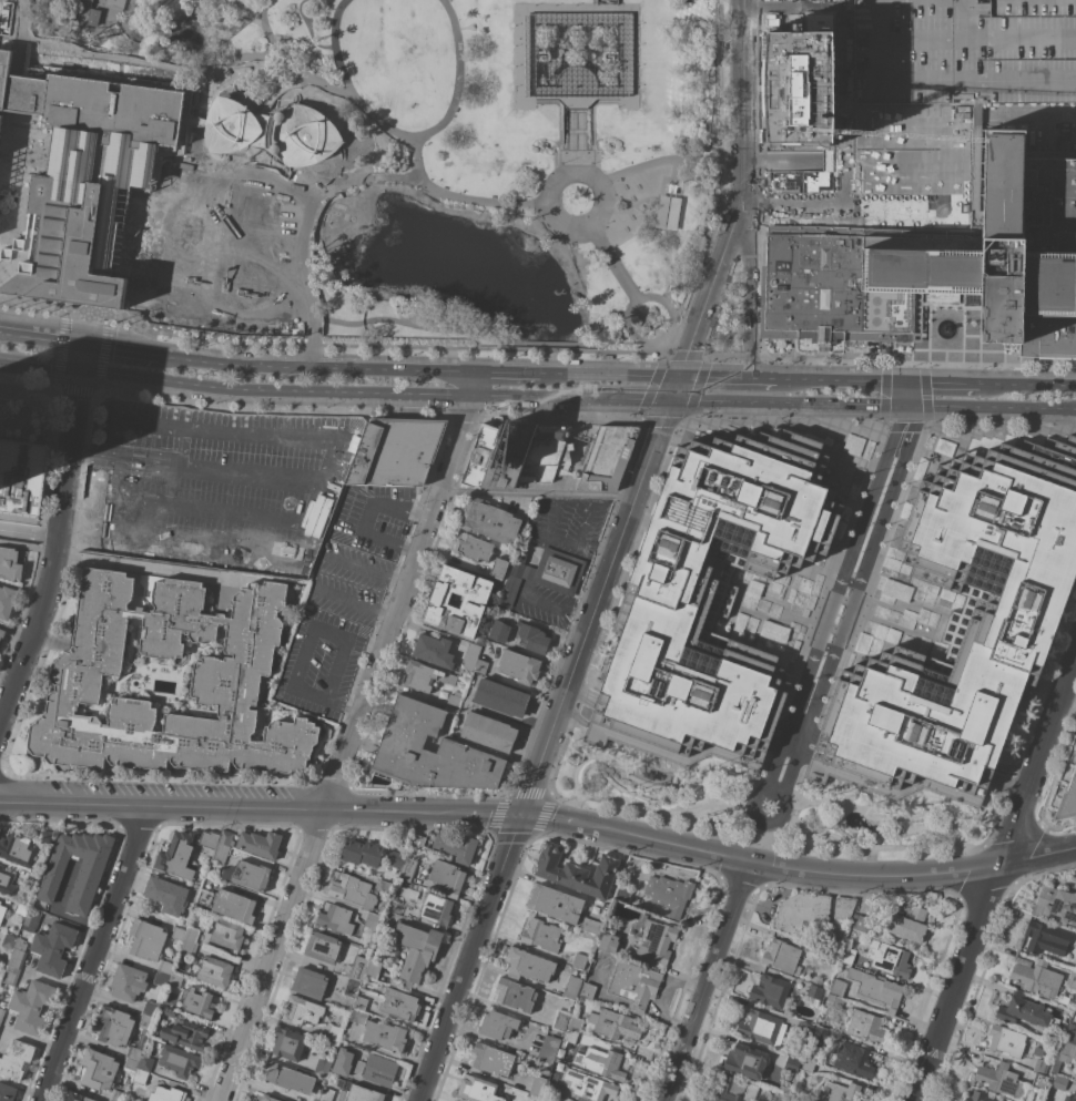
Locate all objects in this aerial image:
building: (605, 1)
building: (115, 4)
building: (85, 7)
road: (621, 8)
road: (104, 10)
road: (161, 20)
road: (122, 28)
road: (131, 38)
building: (964, 51)
parking garage: (964, 51)
road: (519, 52)
road: (237, 57)
road: (288, 61)
building: (534, 62)
building: (530, 63)
road: (302, 80)
building: (798, 86)
road: (273, 93)
road: (576, 93)
road: (521, 102)
road: (629, 102)
road: (742, 105)
building: (976, 112)
road: (1042, 115)
road: (559, 119)
road: (591, 119)
road: (200, 122)
road: (258, 130)
building: (272, 131)
road: (406, 133)
road: (575, 139)
road: (953, 147)
road: (251, 149)
park: (466, 153)
road: (417, 156)
road: (559, 159)
road: (591, 159)
road: (657, 160)
road: (779, 161)
road: (569, 171)
road: (843, 182)
building: (109, 187)
building: (670, 188)
road: (438, 191)
building: (666, 213)
building: (940, 263)
road: (612, 264)
road: (301, 266)
road: (286, 272)
road: (749, 294)
road: (103, 319)
road: (423, 327)
fountain: (944, 328)
road: (598, 329)
road: (153, 332)
road: (628, 332)
road: (312, 339)
road: (40, 340)
road: (549, 343)
traffic signals: (82, 346)
road: (664, 347)
road: (119, 350)
road: (669, 353)
road: (312, 355)
road: (80, 357)
road: (722, 359)
road: (750, 360)
road: (666, 361)
road: (916, 363)
road: (39, 364)
road: (311, 366)
traffic signals: (79, 369)
road: (509, 373)
road: (613, 375)
traffic signals: (679, 376)
road: (728, 378)
road: (13, 379)
road: (841, 380)
traffic signals: (905, 381)
road: (468, 383)
road: (943, 383)
road: (1029, 385)
road: (72, 388)
road: (272, 389)
road: (905, 394)
road: (529, 395)
road: (631, 397)
traffic signals: (671, 399)
road: (789, 401)
traffic signals: (906, 406)
road: (991, 408)
road: (335, 416)
road: (784, 421)
road: (904, 424)
building: (396, 451)
building: (483, 452)
building: (545, 452)
building: (566, 453)
building: (510, 455)
building: (608, 457)
building: (22, 477)
road: (77, 516)
road: (368, 517)
road: (16, 518)
parking lot: (373, 521)
building: (489, 521)
road: (49, 522)
road: (29, 534)
road: (581, 540)
building: (473, 548)
road: (539, 549)
road: (55, 550)
building: (10, 563)
road: (355, 565)
road: (150, 568)
building: (499, 568)
building: (551, 572)
road: (530, 573)
road: (395, 580)
parking lot: (349, 582)
building: (509, 591)
building: (712, 599)
road: (342, 600)
building: (474, 600)
building: (7, 601)
road: (842, 606)
road: (554, 608)
road: (382, 614)
building: (963, 628)
building: (499, 631)
road: (331, 632)
building: (1, 633)
building: (532, 638)
building: (433, 650)
building: (470, 656)
road: (580, 656)
parking lot: (321, 663)
building: (232, 666)
building: (519, 666)
road: (297, 667)
building: (480, 667)
road: (335, 672)
building: (425, 676)
building: (500, 697)
building: (454, 700)
road: (337, 707)
building: (488, 732)
road: (347, 747)
building: (429, 752)
building: (1075, 763)
building: (1067, 799)
park: (763, 807)
road: (541, 820)
building: (1, 830)
road: (760, 836)
building: (48, 837)
building: (226, 838)
building: (418, 842)
building: (210, 843)
building: (260, 844)
building: (18, 847)
building: (457, 847)
building: (362, 852)
building: (221, 853)
building: (176, 855)
building: (395, 858)
building: (406, 869)
building: (576, 870)
road: (991, 873)
building: (247, 875)
building: (33, 877)
building: (448, 877)
building: (207, 878)
building: (88, 879)
building: (7, 883)
building: (382, 886)
building: (351, 889)
building: (408, 890)
building: (669, 894)
building: (165, 895)
building: (622, 895)
building: (205, 897)
building: (0, 901)
building: (555, 904)
building: (1056, 904)
building: (234, 906)
building: (395, 906)
building: (843, 907)
building: (436, 908)
building: (21, 909)
building: (2, 911)
building: (802, 911)
building: (31, 919)
building: (335, 919)
building: (370, 919)
building: (908, 922)
building: (863, 924)
building: (590, 926)
building: (179, 934)
building: (191, 935)
building: (227, 935)
building: (541, 935)
building: (1045, 938)
building: (146, 939)
building: (657, 939)
building: (10, 941)
building: (608, 942)
building: (322, 947)
building: (53, 948)
building: (187, 948)
building: (598, 951)
building: (415, 952)
building: (19, 954)
road: (94, 954)
building: (828, 955)
building: (847, 955)
building: (781, 956)
building: (889, 958)
building: (579, 960)
building: (528, 965)
building: (165, 967)
building: (357, 967)
building: (374, 967)
building: (215, 971)
building: (11, 976)
building: (161, 978)
building: (1037, 978)
building: (175, 979)
building: (1072, 980)
building: (126, 982)
building: (309, 982)
road: (706, 983)
building: (635, 985)
building: (571, 987)
building: (838, 987)
building: (351, 988)
building: (876, 989)
building: (587, 990)
building: (770, 990)
building: (814, 991)
building: (515, 995)
building: (361, 999)
building: (834, 1001)
building: (196, 1003)
building: (399, 1003)
building: (31, 1006)
building: (149, 1008)
building: (303, 1010)
building: (169, 1011)
building: (1024, 1011)
building: (1, 1013)
building: (357, 1017)
building: (560, 1020)
building: (144, 1021)
building: (575, 1023)
building: (497, 1024)
building: (613, 1024)
building: (114, 1026)
building: (866, 1026)
building: (762, 1028)
building: (803, 1030)
building: (185, 1034)
building: (334, 1034)
building: (1070, 1034)
building: (385, 1036)
building: (569, 1037)
building: (816, 1041)
building: (1006, 1041)
building: (288, 1044)
building: (548, 1049)
building: (134, 1052)
building: (1064, 1054)
building: (491, 1059)
building: (853, 1059)
building: (17, 1060)
building: (177, 1060)
building: (745, 1061)
building: (145, 1062)
building: (343, 1062)
building: (600, 1062)
building: (130, 1063)
building: (791, 1064)
building: (323, 1066)
building: (808, 1066)
building: (358, 1067)
building: (1041, 1067)
building: (99, 1069)
building: (378, 1070)
building: (139, 1075)
building: (1075, 1075)
building: (287, 1077)
building: (1001, 1080)
building: (1039, 1081)
building: (1059, 1082)
building: (538, 1085)
building: (588, 1085)
building: (477, 1089)
building: (552, 1089)
building: (734, 1090)
building: (7, 1092)
building: (356, 1092)
building: (839, 1092)
building: (168, 1094)
building: (326, 1094)
building: (118, 1095)
building: (77, 1097)
building: (977, 1097)
building: (267, 1098)
building: (792, 1099)
building: (1075, 1100)

